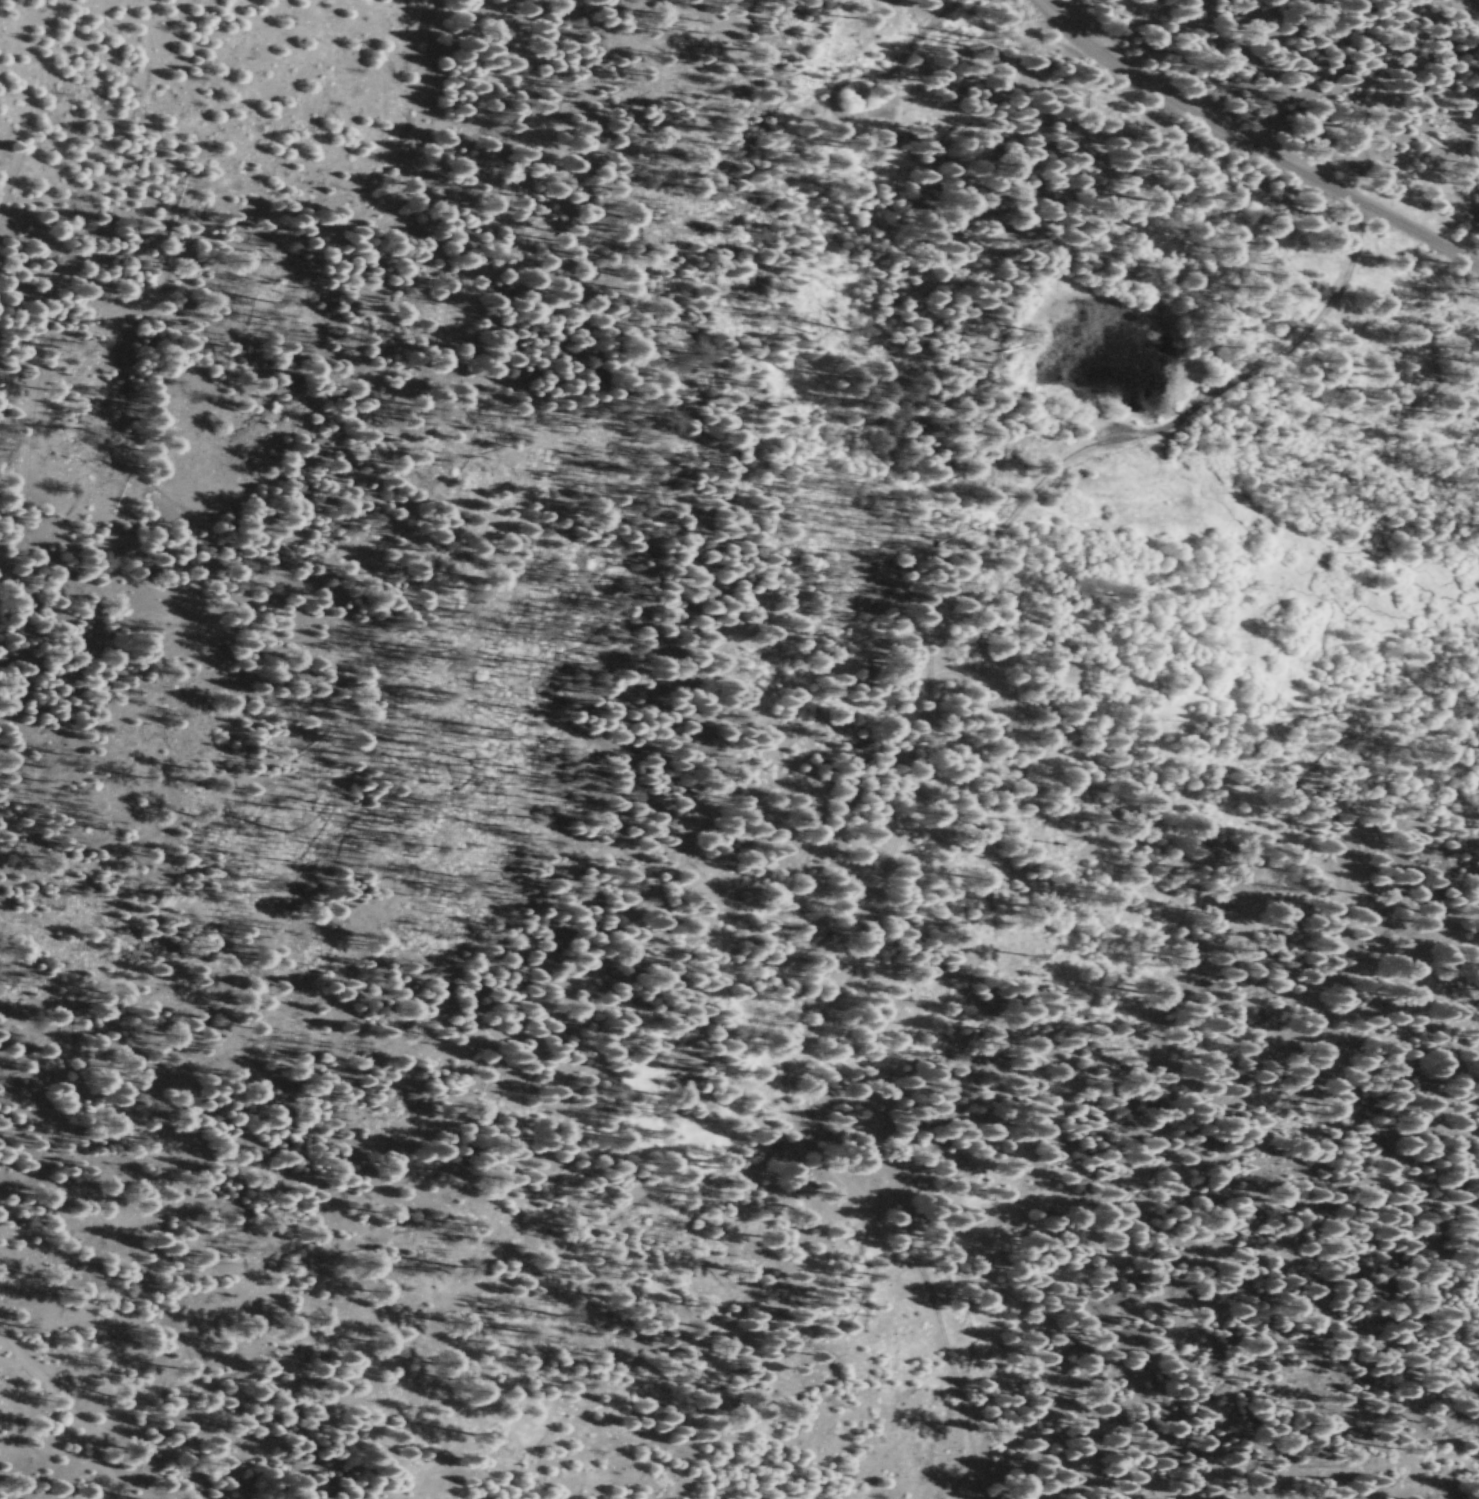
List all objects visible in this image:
road: (29, 102)
road: (1251, 146)
wastewater plant: (1126, 367)
road: (1213, 775)
road: (987, 800)

